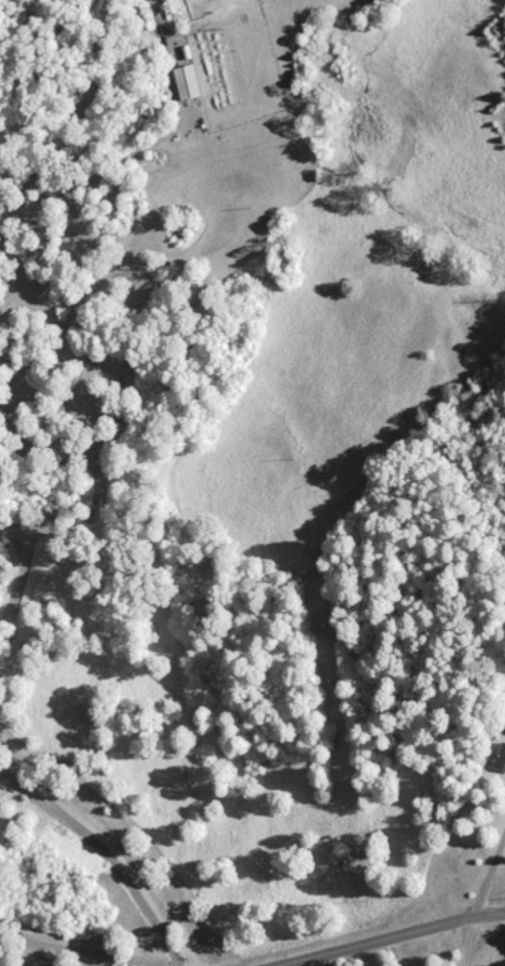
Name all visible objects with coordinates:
building: (191, 83)
road: (78, 118)
building: (502, 762)
road: (107, 853)
road: (394, 937)
road: (79, 949)

